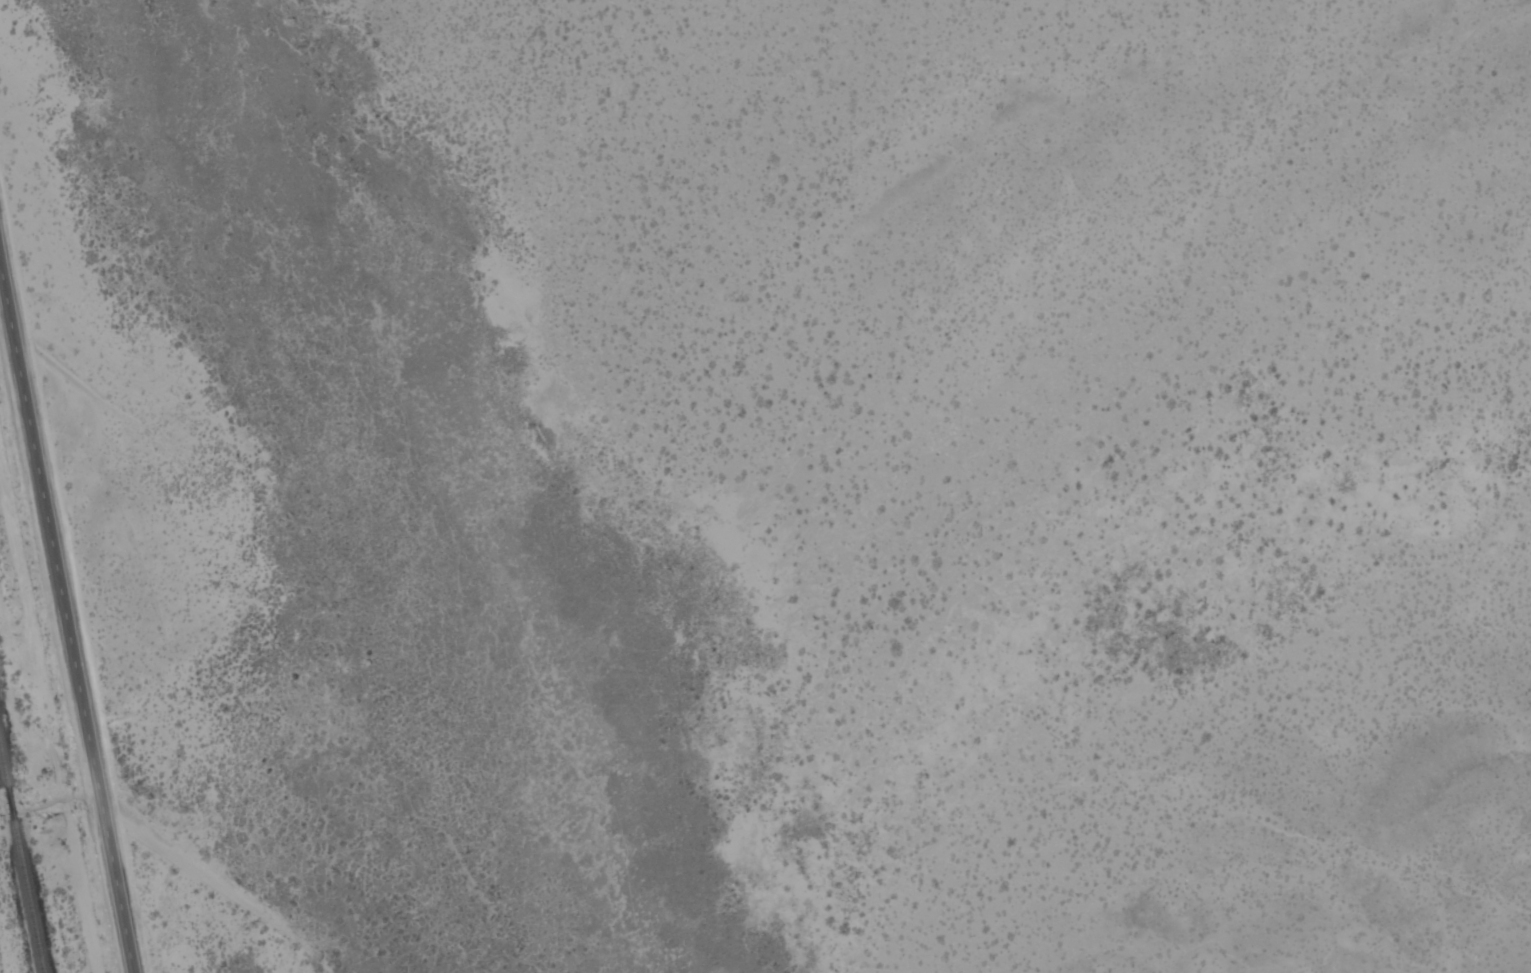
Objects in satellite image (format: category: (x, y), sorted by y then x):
road: (61, 625)
railway: (2, 772)
railway: (8, 801)
railway: (26, 896)

